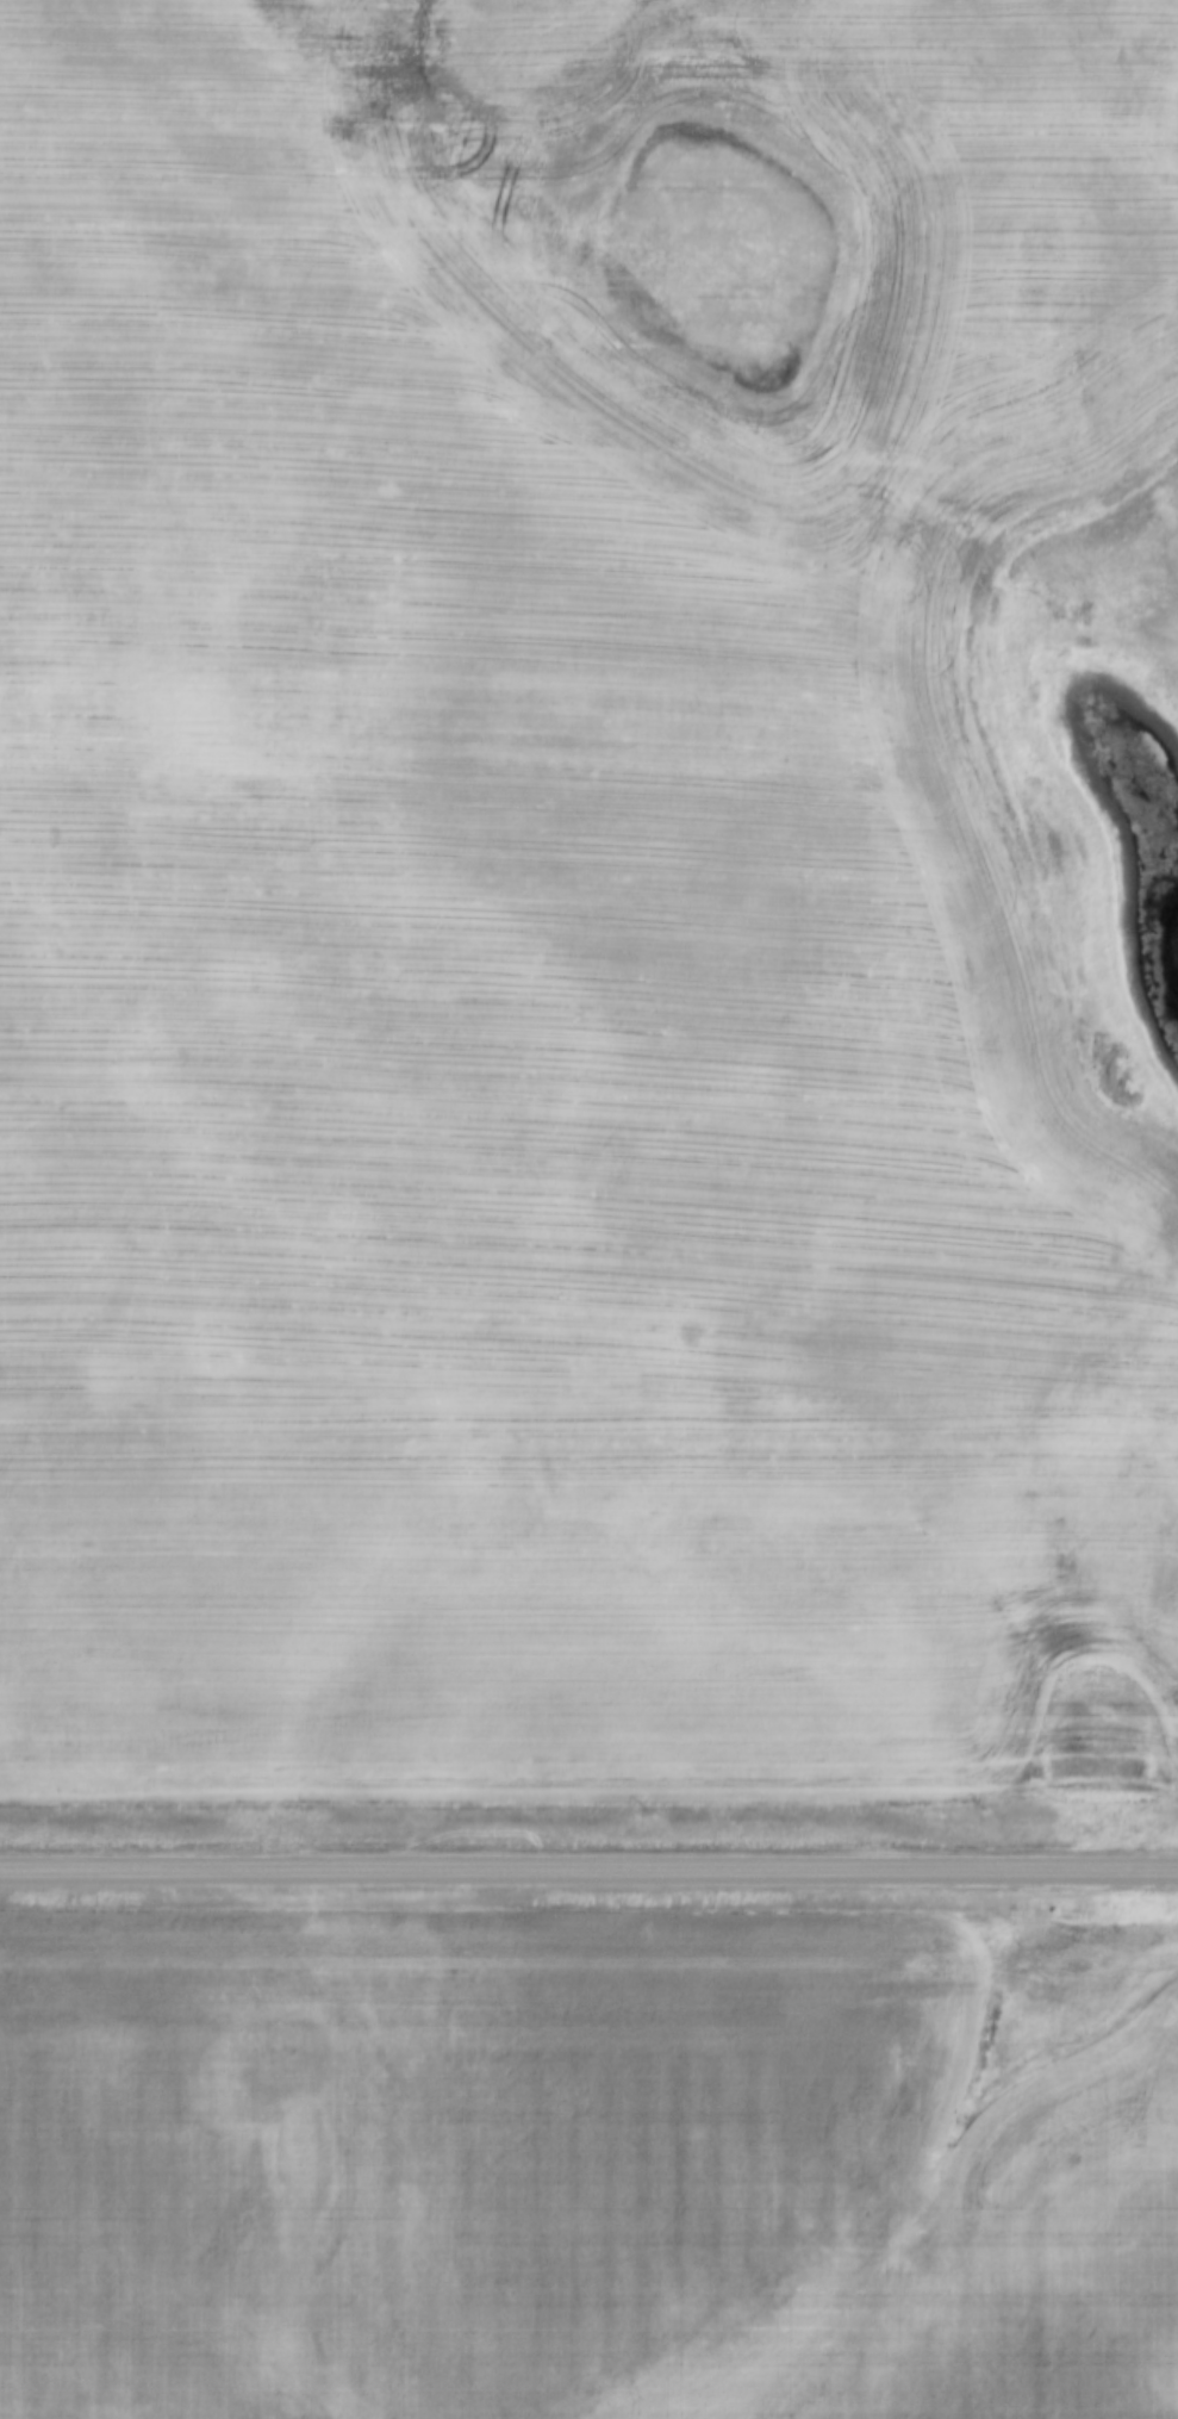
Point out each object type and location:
road: (588, 1874)

